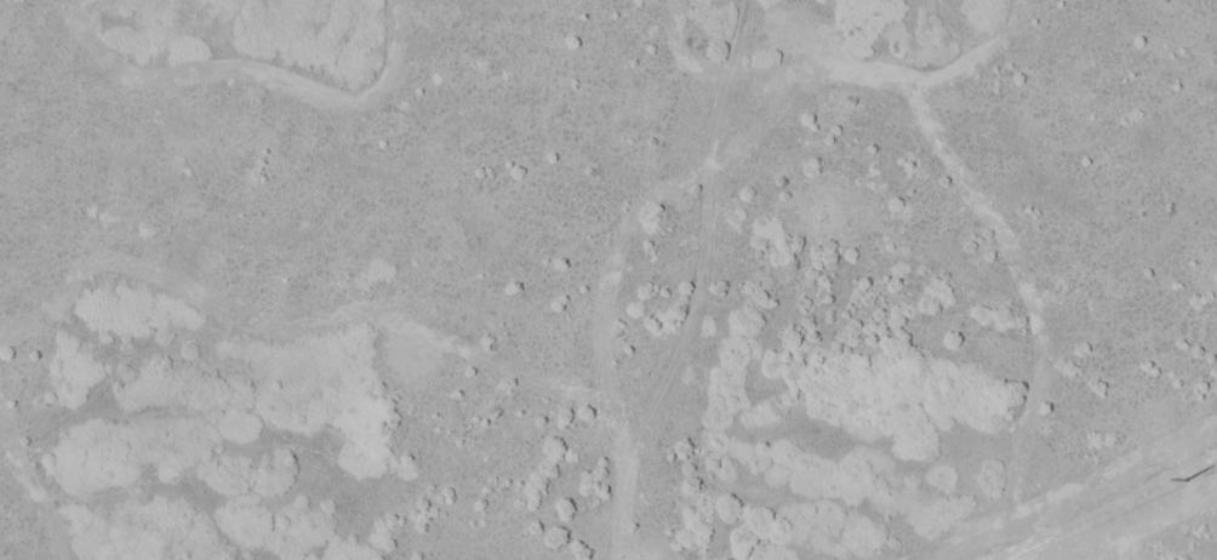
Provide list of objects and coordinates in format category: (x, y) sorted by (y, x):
power tower: (1181, 481)

